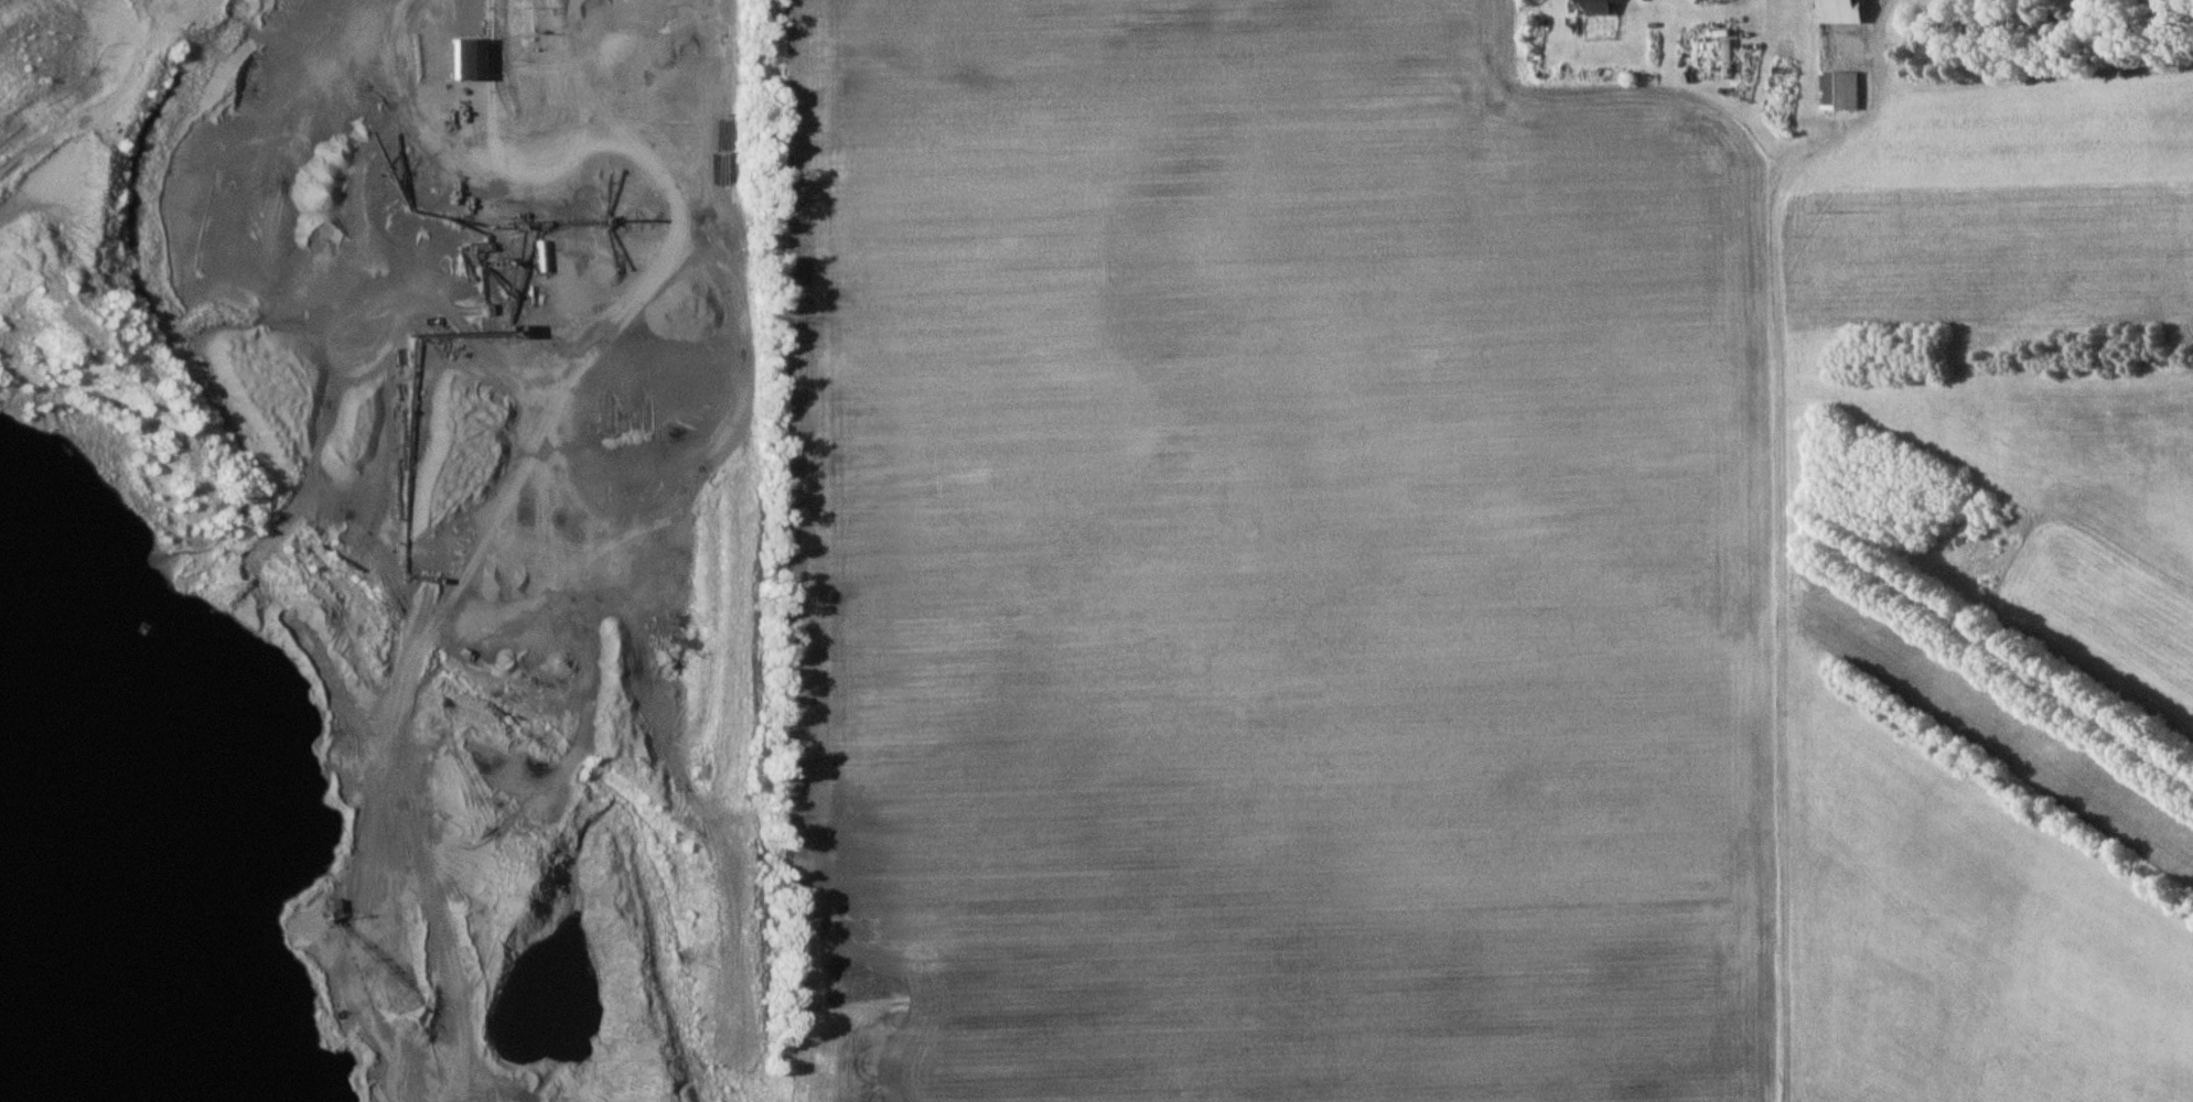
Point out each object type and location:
building: (1600, 6)
road: (471, 10)
building: (1843, 11)
road: (1882, 42)
building: (471, 58)
building: (1839, 90)

